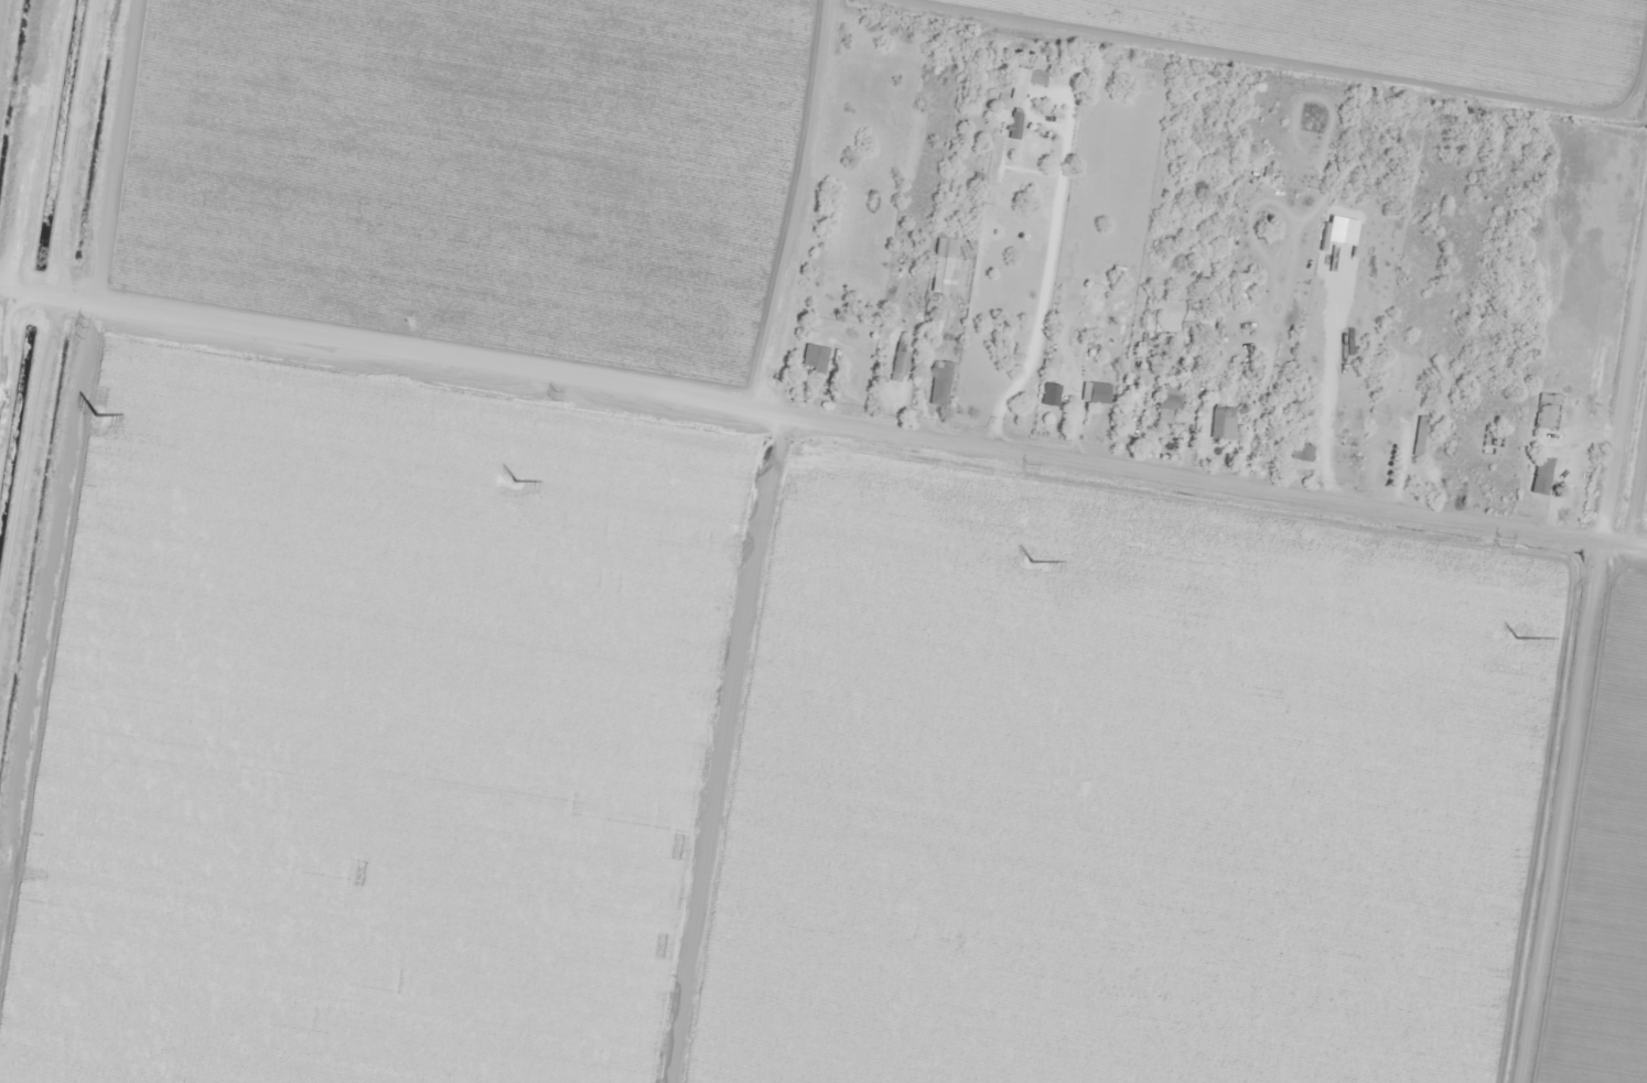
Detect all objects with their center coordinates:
building: (1026, 83)
building: (1014, 126)
building: (946, 247)
power tower: (84, 323)
building: (815, 358)
building: (900, 360)
building: (855, 373)
building: (939, 383)
building: (1049, 392)
building: (1094, 392)
power tower: (555, 396)
building: (1171, 399)
building: (1548, 411)
power tower: (97, 415)
road: (805, 416)
building: (1223, 423)
road: (67, 429)
building: (1301, 453)
power tower: (1027, 469)
building: (1541, 477)
power tower: (515, 481)
building: (1579, 486)
power tower: (1501, 542)
road: (1629, 544)
power tower: (1031, 564)
power tower: (1516, 640)
road: (1590, 693)

